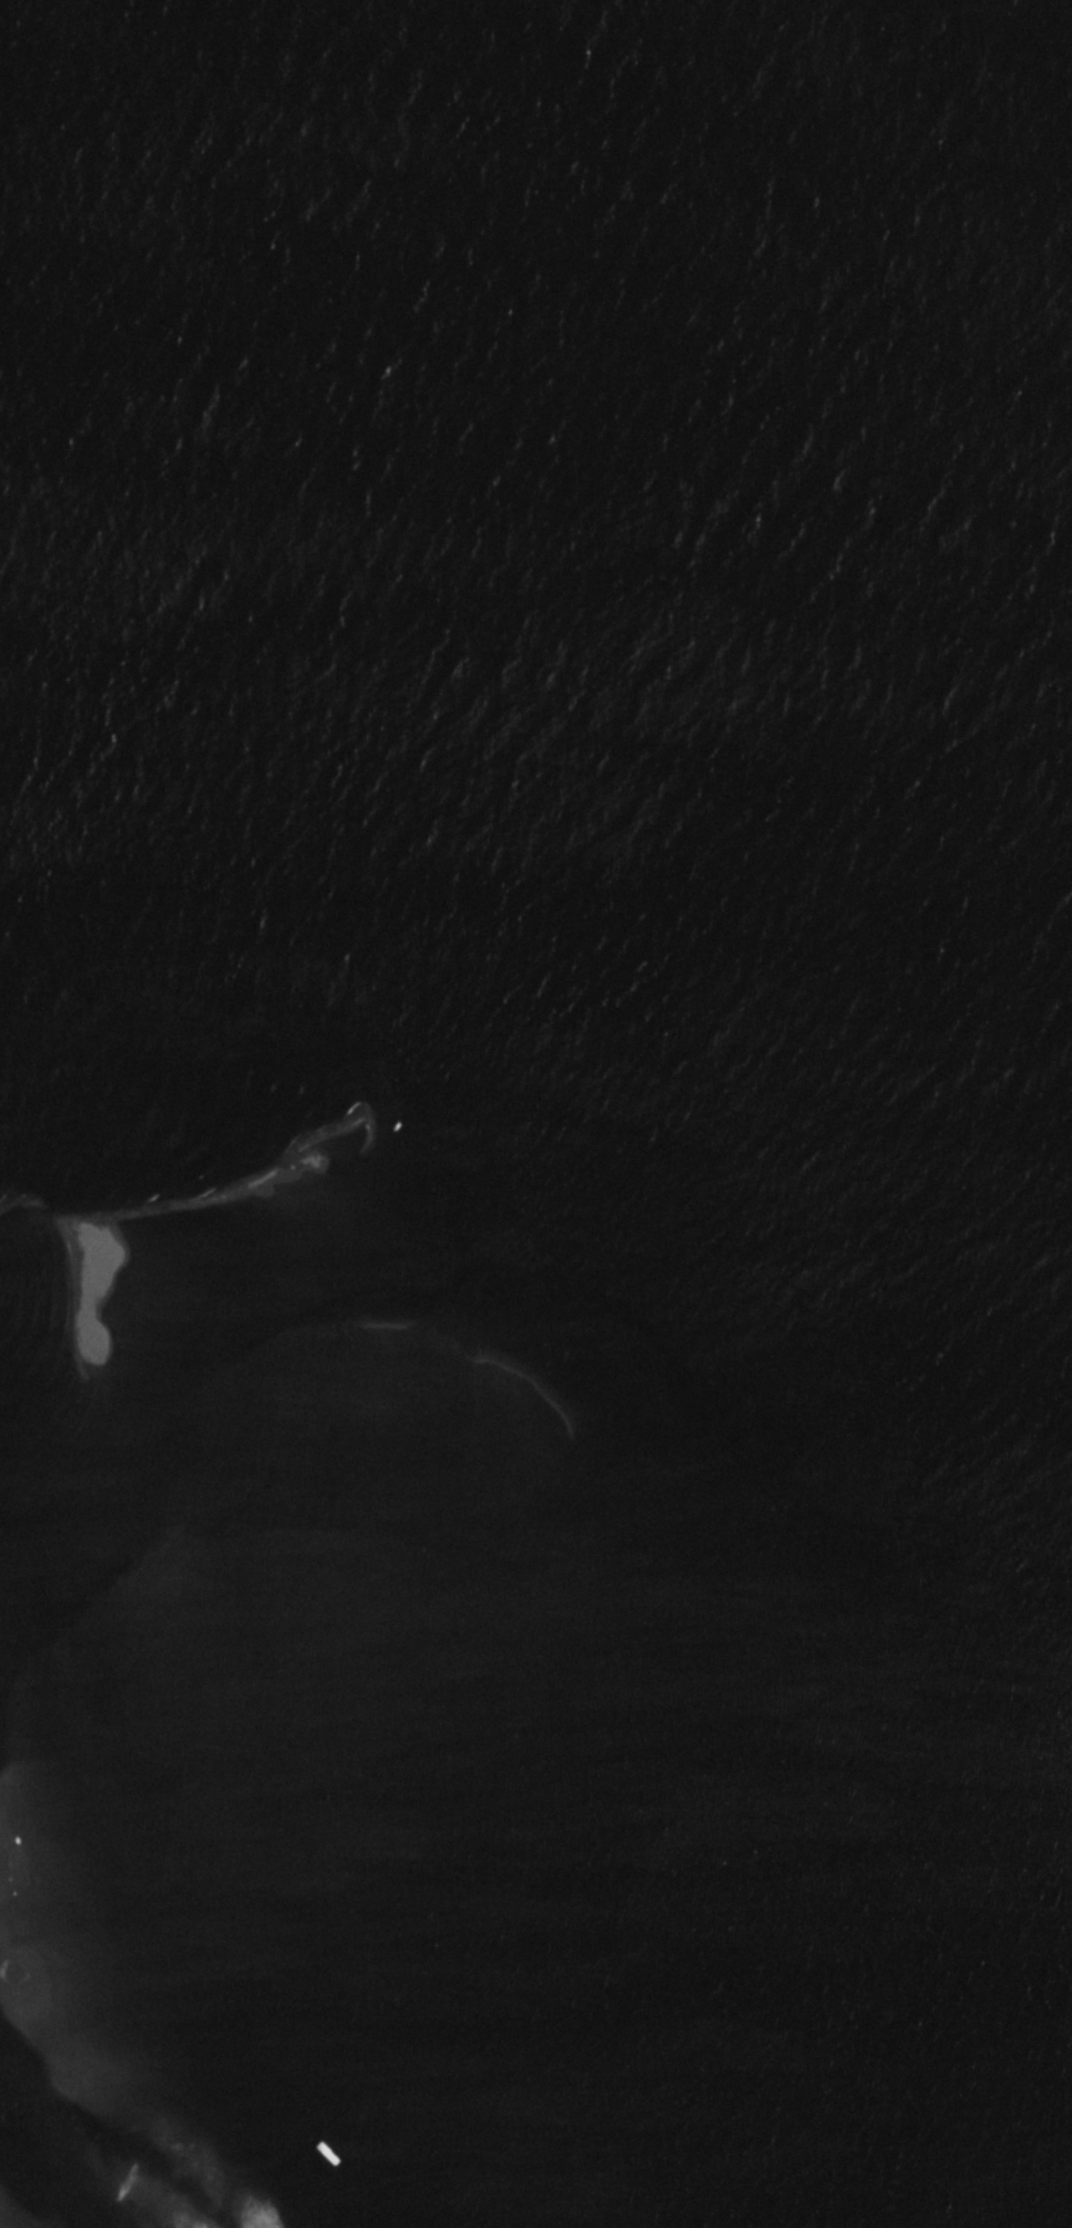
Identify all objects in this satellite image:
river: (535, 1300)
river: (408, 1742)

